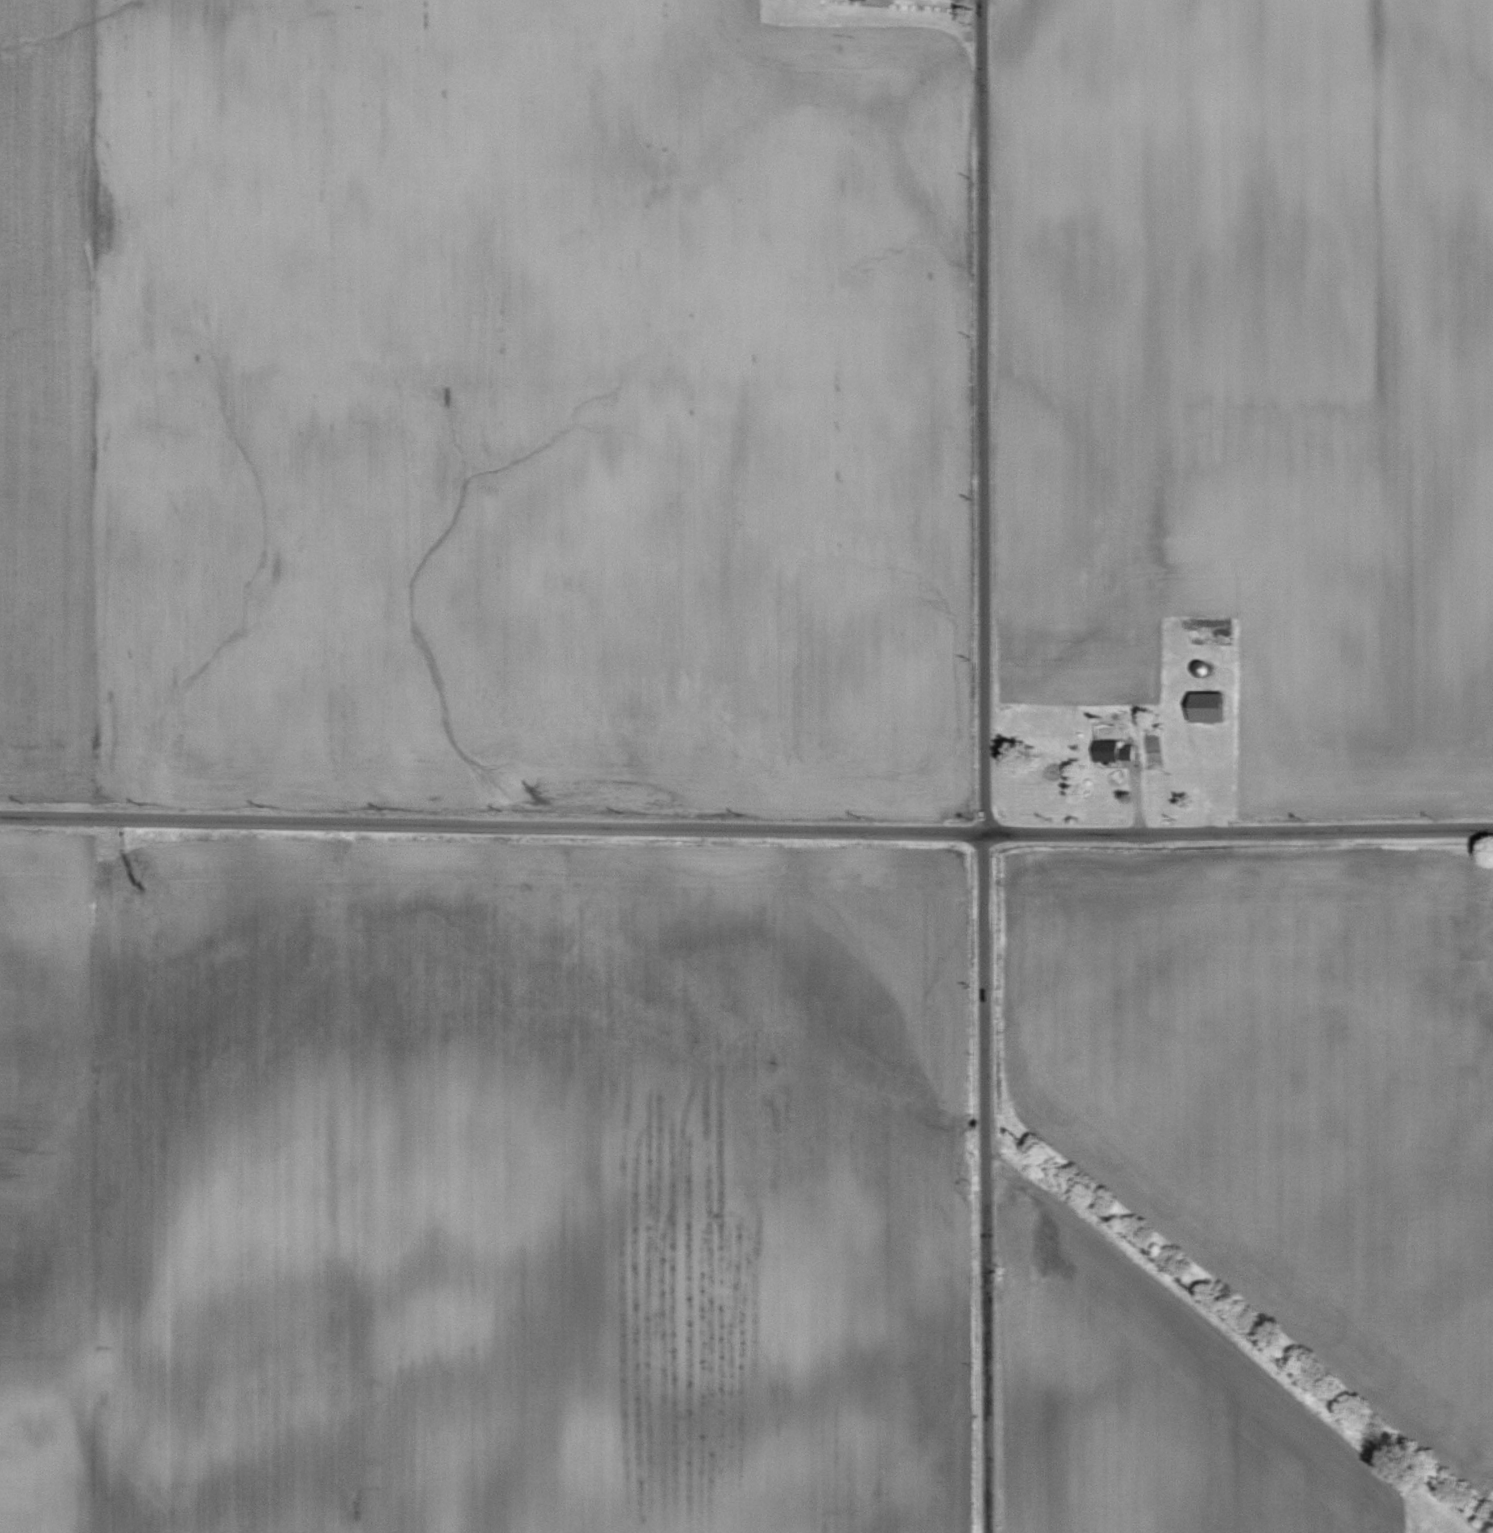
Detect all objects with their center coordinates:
road: (982, 416)
building: (1208, 707)
building: (1109, 752)
road: (746, 828)
road: (986, 1183)

